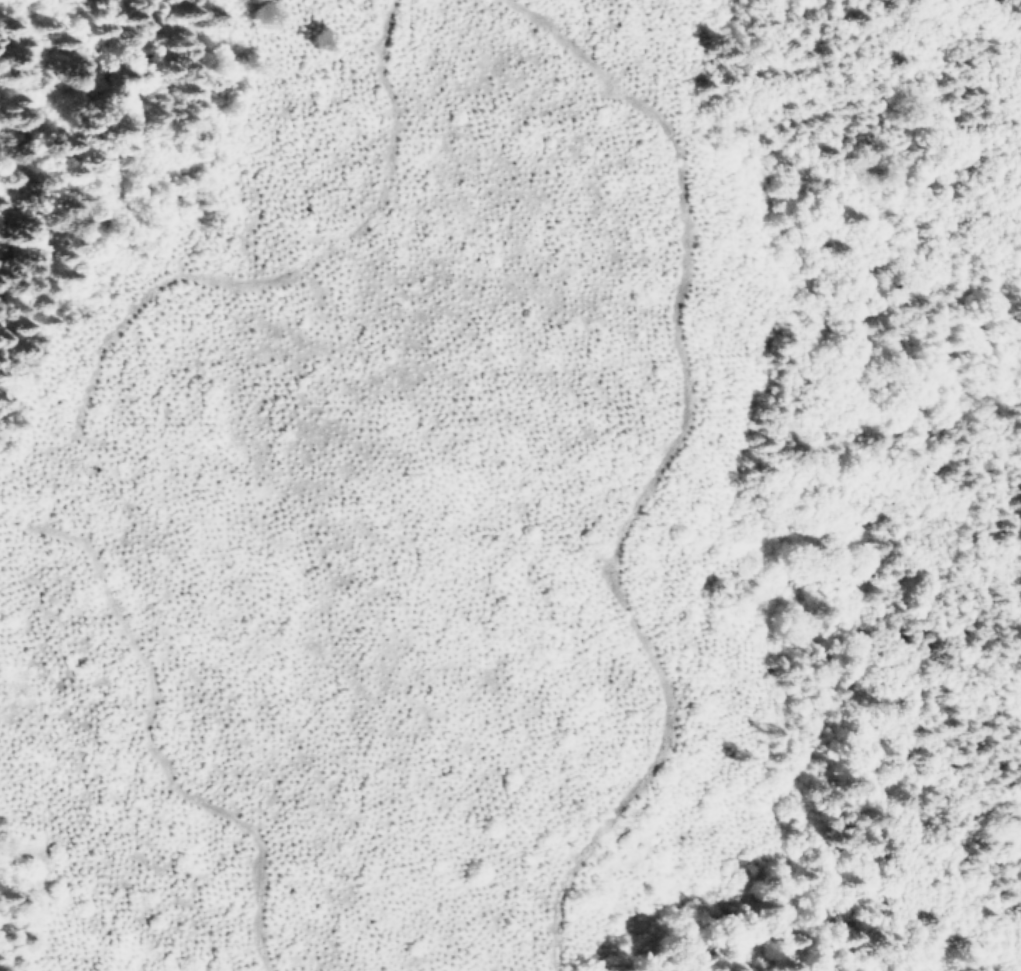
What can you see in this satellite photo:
road: (145, 254)

